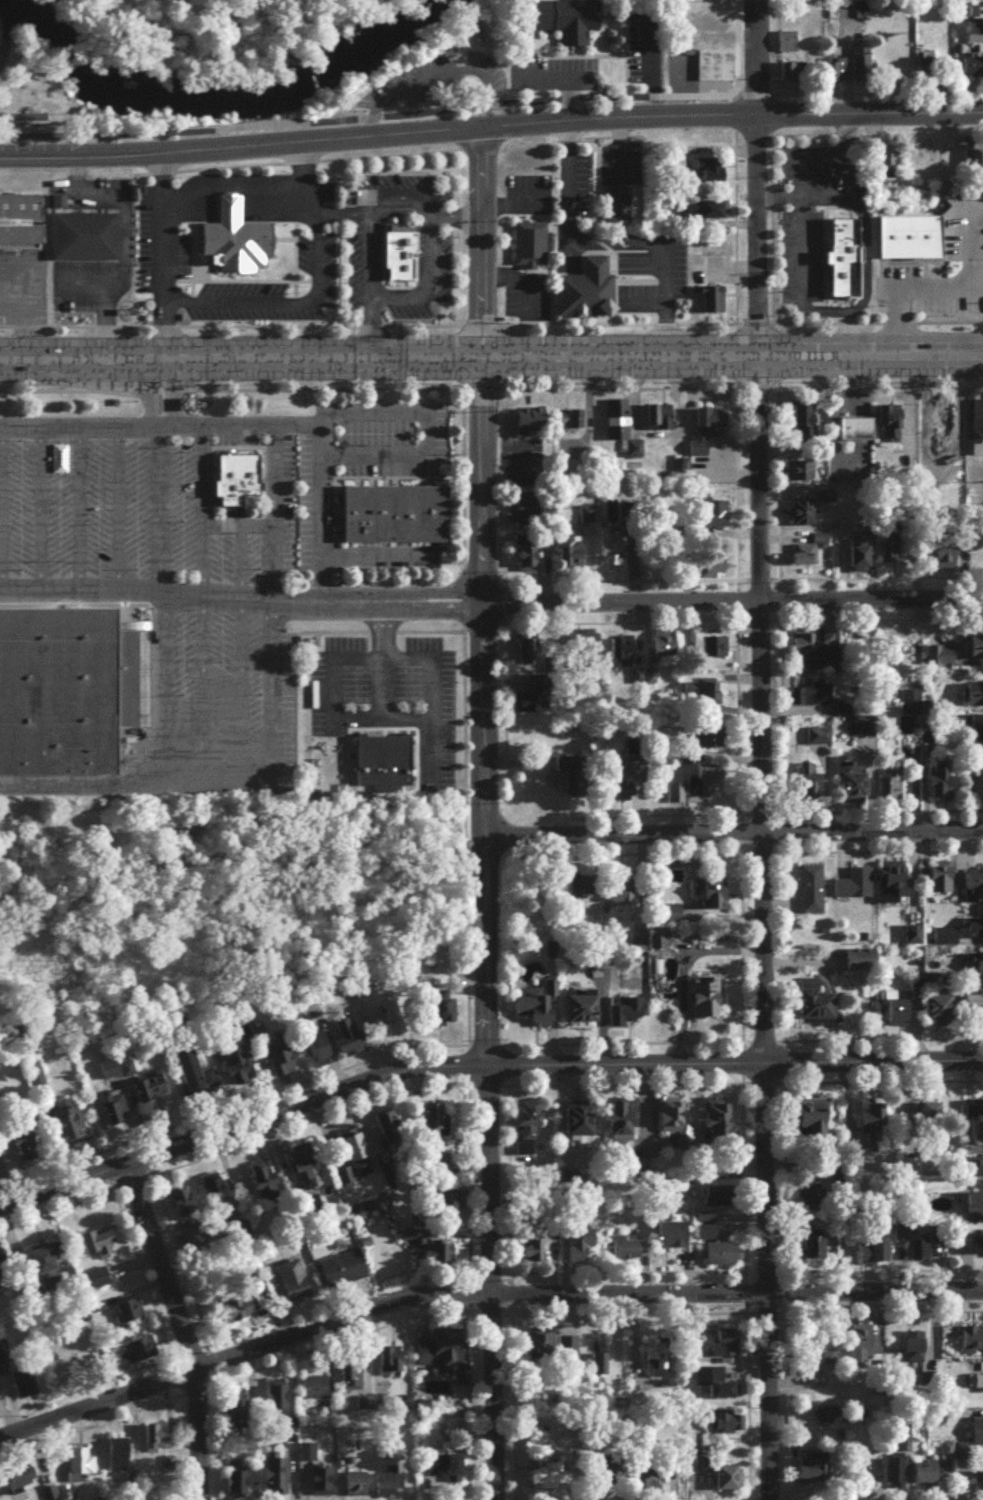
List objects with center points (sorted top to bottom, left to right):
building: (714, 1)
building: (972, 9)
road: (982, 10)
building: (976, 17)
building: (563, 18)
building: (844, 20)
road: (205, 25)
building: (709, 25)
building: (973, 31)
road: (619, 35)
building: (783, 39)
building: (977, 46)
road: (979, 46)
parking lot: (637, 50)
road: (574, 54)
building: (856, 62)
building: (711, 63)
building: (919, 64)
building: (969, 64)
road: (646, 65)
road: (432, 70)
parking lot: (542, 70)
parking lot: (676, 70)
building: (789, 70)
building: (826, 71)
road: (839, 73)
building: (836, 74)
road: (543, 77)
parking lot: (423, 78)
building: (926, 78)
road: (670, 81)
road: (938, 83)
road: (873, 90)
road: (562, 98)
river: (216, 101)
road: (854, 110)
road: (414, 112)
building: (25, 114)
road: (643, 114)
road: (838, 132)
road: (801, 133)
road: (581, 136)
road: (280, 141)
road: (619, 144)
road: (570, 149)
road: (738, 149)
road: (793, 153)
building: (971, 156)
road: (291, 160)
road: (722, 164)
building: (705, 168)
road: (583, 177)
road: (296, 179)
road: (749, 180)
road: (226, 187)
road: (739, 194)
road: (757, 196)
road: (779, 196)
road: (816, 196)
building: (614, 202)
road: (726, 203)
road: (364, 208)
building: (711, 208)
road: (398, 216)
road: (452, 216)
road: (765, 216)
road: (728, 217)
building: (20, 221)
road: (730, 223)
building: (231, 232)
road: (455, 232)
building: (906, 234)
building: (81, 235)
road: (118, 241)
road: (474, 242)
building: (527, 242)
road: (611, 242)
road: (793, 248)
building: (397, 251)
road: (159, 256)
building: (840, 257)
parking lot: (707, 267)
road: (719, 268)
road: (860, 282)
road: (429, 285)
building: (690, 286)
road: (937, 287)
building: (583, 290)
road: (724, 293)
building: (708, 296)
road: (307, 301)
building: (714, 304)
road: (453, 321)
road: (873, 321)
road: (610, 322)
road: (225, 324)
road: (471, 324)
road: (369, 329)
road: (937, 357)
road: (445, 361)
road: (753, 373)
road: (871, 385)
road: (750, 386)
road: (475, 387)
road: (618, 387)
road: (316, 388)
road: (60, 389)
road: (848, 390)
road: (149, 392)
road: (847, 402)
road: (852, 402)
road: (671, 406)
road: (900, 407)
road: (581, 414)
building: (656, 414)
building: (612, 416)
building: (938, 417)
building: (526, 418)
building: (974, 418)
building: (799, 419)
road: (961, 419)
building: (885, 420)
building: (564, 421)
road: (917, 421)
road: (77, 426)
building: (852, 426)
building: (946, 426)
road: (321, 429)
building: (700, 429)
road: (426, 434)
road: (847, 435)
road: (857, 435)
building: (629, 446)
road: (826, 446)
road: (233, 447)
road: (777, 451)
building: (811, 452)
road: (853, 461)
building: (676, 463)
building: (791, 467)
building: (801, 475)
building: (233, 476)
road: (274, 477)
road: (771, 484)
building: (817, 491)
road: (779, 493)
parking lot: (235, 498)
parking lot: (82, 499)
building: (796, 509)
road: (32, 510)
road: (72, 510)
road: (110, 510)
road: (193, 512)
building: (392, 512)
building: (714, 513)
building: (531, 515)
building: (805, 517)
building: (588, 519)
building: (955, 520)
road: (230, 522)
road: (778, 536)
building: (812, 536)
building: (605, 545)
building: (885, 546)
building: (942, 550)
building: (853, 551)
building: (793, 552)
road: (158, 555)
building: (572, 557)
building: (862, 557)
building: (893, 558)
building: (530, 559)
building: (804, 559)
road: (233, 560)
road: (955, 561)
road: (908, 566)
road: (626, 570)
road: (872, 576)
road: (863, 581)
road: (729, 598)
road: (237, 599)
road: (374, 630)
building: (591, 648)
building: (666, 650)
building: (711, 650)
building: (902, 651)
building: (812, 652)
building: (976, 654)
building: (624, 655)
building: (531, 657)
building: (941, 660)
building: (62, 688)
road: (266, 688)
building: (973, 691)
building: (700, 695)
building: (813, 697)
building: (531, 707)
building: (909, 707)
parking lot: (373, 715)
building: (974, 720)
building: (977, 729)
building: (906, 730)
building: (864, 731)
building: (819, 740)
building: (710, 742)
building: (378, 760)
building: (968, 767)
building: (980, 772)
building: (575, 780)
building: (886, 780)
building: (937, 780)
building: (851, 783)
building: (808, 787)
building: (698, 791)
building: (628, 793)
road: (92, 794)
road: (875, 810)
road: (751, 811)
road: (457, 837)
road: (732, 837)
road: (876, 850)
building: (669, 881)
building: (941, 883)
building: (894, 886)
building: (855, 889)
building: (974, 892)
building: (581, 893)
building: (812, 894)
building: (622, 895)
building: (716, 896)
building: (668, 918)
road: (482, 930)
building: (972, 933)
road: (761, 942)
building: (659, 943)
building: (864, 965)
building: (976, 967)
building: (665, 978)
building: (705, 1002)
building: (975, 1006)
building: (537, 1009)
building: (817, 1009)
building: (941, 1012)
building: (584, 1015)
building: (627, 1015)
building: (442, 1016)
building: (897, 1016)
building: (393, 1020)
road: (876, 1038)
building: (349, 1041)
building: (318, 1053)
building: (281, 1064)
road: (480, 1065)
building: (241, 1072)
building: (194, 1075)
building: (35, 1080)
building: (151, 1094)
building: (115, 1114)
building: (873, 1119)
building: (932, 1120)
building: (975, 1121)
building: (718, 1123)
building: (581, 1124)
building: (674, 1124)
building: (436, 1125)
building: (624, 1125)
building: (813, 1125)
building: (70, 1127)
building: (529, 1128)
building: (391, 1133)
building: (354, 1161)
building: (980, 1173)
building: (304, 1175)
building: (265, 1185)
building: (217, 1200)
building: (722, 1200)
building: (441, 1201)
building: (813, 1202)
building: (973, 1210)
building: (185, 1212)
building: (707, 1237)
building: (897, 1237)
building: (674, 1241)
building: (99, 1247)
building: (580, 1249)
building: (813, 1250)
building: (970, 1251)
building: (627, 1252)
building: (532, 1255)
building: (918, 1255)
building: (874, 1256)
building: (440, 1259)
building: (722, 1259)
building: (45, 1271)
building: (343, 1273)
building: (4, 1277)
building: (98, 1284)
building: (294, 1285)
road: (480, 1297)
building: (236, 1315)
building: (130, 1316)
road: (179, 1329)
building: (971, 1345)
building: (540, 1347)
building: (720, 1348)
building: (863, 1352)
building: (442, 1353)
building: (569, 1355)
building: (913, 1355)
building: (132, 1359)
building: (820, 1360)
building: (656, 1364)
building: (389, 1365)
building: (599, 1368)
building: (351, 1379)
building: (27, 1387)
building: (714, 1388)
building: (315, 1393)
building: (278, 1403)
building: (236, 1411)
building: (726, 1427)
building: (976, 1435)
building: (156, 1441)
building: (306, 1457)
building: (119, 1459)
building: (80, 1469)
building: (430, 1470)
building: (455, 1473)
building: (811, 1475)
building: (868, 1476)
building: (893, 1476)
building: (924, 1476)
building: (20, 1482)
building: (275, 1482)
building: (545, 1483)
building: (241, 1484)
building: (980, 1484)
building: (389, 1485)
building: (726, 1485)
building: (322, 1486)
building: (653, 1487)
building: (356, 1489)

